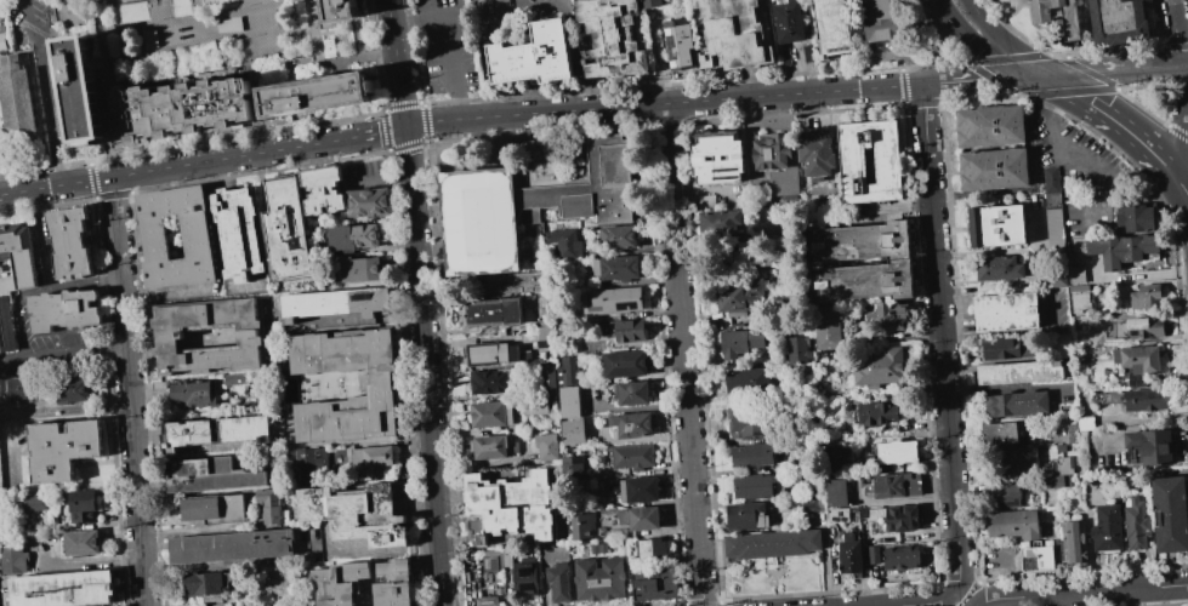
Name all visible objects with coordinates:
road: (103, 0)
road: (260, 4)
building: (648, 4)
road: (154, 8)
road: (197, 8)
building: (879, 10)
road: (92, 11)
building: (342, 11)
road: (228, 13)
road: (311, 15)
building: (1057, 16)
road: (262, 19)
road: (569, 19)
building: (789, 22)
building: (1120, 22)
road: (322, 23)
road: (141, 24)
building: (229, 24)
road: (70, 25)
road: (169, 27)
building: (835, 28)
building: (883, 33)
building: (734, 34)
road: (223, 35)
building: (149, 38)
building: (612, 38)
road: (449, 40)
road: (1004, 40)
building: (1, 41)
road: (936, 41)
road: (1180, 41)
building: (681, 44)
road: (316, 46)
road: (187, 47)
road: (360, 47)
road: (982, 50)
road: (221, 51)
road: (376, 55)
building: (534, 56)
road: (175, 61)
road: (337, 61)
road: (320, 62)
road: (398, 62)
road: (285, 67)
road: (1115, 69)
parking lot: (41, 70)
road: (227, 72)
road: (288, 73)
traffic signals: (1044, 75)
road: (108, 76)
road: (177, 80)
building: (84, 81)
road: (254, 82)
building: (323, 90)
road: (44, 91)
road: (724, 98)
building: (17, 105)
building: (186, 105)
road: (394, 107)
road: (103, 109)
road: (1113, 118)
road: (383, 121)
traffic signals: (408, 126)
building: (990, 126)
road: (381, 132)
road: (252, 133)
building: (818, 155)
road: (1068, 155)
road: (103, 158)
building: (717, 158)
road: (1181, 159)
building: (870, 161)
road: (89, 162)
building: (778, 162)
road: (177, 166)
building: (994, 170)
road: (91, 172)
road: (1181, 183)
road: (1156, 184)
building: (324, 190)
building: (1053, 194)
road: (1101, 200)
building: (369, 202)
building: (529, 208)
building: (717, 212)
building: (1136, 218)
building: (999, 227)
building: (288, 228)
building: (239, 234)
building: (619, 236)
building: (198, 238)
building: (356, 238)
building: (565, 242)
building: (70, 244)
building: (1124, 250)
building: (748, 252)
building: (834, 259)
building: (618, 268)
building: (1000, 268)
building: (358, 269)
building: (1079, 274)
building: (13, 276)
building: (515, 284)
road: (169, 295)
building: (1147, 297)
building: (740, 299)
building: (613, 301)
building: (1082, 301)
building: (336, 304)
building: (64, 310)
building: (494, 313)
building: (1006, 313)
building: (858, 322)
road: (17, 326)
building: (1136, 330)
building: (626, 331)
building: (538, 333)
building: (208, 336)
road: (942, 337)
building: (741, 343)
building: (1002, 348)
building: (798, 350)
building: (491, 353)
road: (683, 354)
building: (1139, 360)
building: (625, 364)
road: (426, 366)
building: (879, 367)
building: (1021, 372)
building: (235, 379)
building: (496, 381)
building: (748, 381)
building: (563, 384)
building: (347, 387)
building: (17, 389)
building: (72, 389)
road: (129, 391)
building: (194, 393)
building: (633, 393)
building: (1138, 400)
building: (1017, 404)
building: (536, 406)
building: (877, 412)
building: (493, 415)
building: (1087, 423)
building: (633, 424)
building: (547, 425)
building: (749, 427)
building: (214, 430)
building: (574, 431)
building: (1005, 433)
building: (1073, 433)
building: (547, 446)
building: (1153, 446)
building: (494, 447)
building: (63, 448)
building: (898, 452)
building: (633, 456)
building: (752, 456)
building: (373, 457)
building: (835, 457)
building: (1014, 461)
building: (309, 464)
building: (579, 468)
building: (0, 469)
building: (1061, 474)
building: (211, 475)
building: (610, 485)
building: (754, 486)
building: (900, 486)
building: (640, 490)
building: (836, 492)
building: (1007, 494)
building: (36, 504)
building: (791, 504)
building: (83, 507)
building: (272, 508)
building: (215, 509)
building: (511, 509)
building: (1, 513)
building: (357, 514)
building: (1170, 514)
building: (837, 515)
building: (746, 516)
building: (904, 518)
building: (638, 519)
building: (1013, 524)
building: (1137, 524)
building: (584, 527)
building: (1108, 530)
building: (603, 531)
building: (83, 543)
building: (1073, 543)
building: (772, 544)
building: (232, 547)
building: (599, 549)
building: (654, 549)
building: (851, 554)
building: (874, 555)
building: (903, 558)
building: (15, 559)
building: (1038, 559)
building: (490, 564)
building: (493, 578)
building: (601, 578)
building: (527, 581)
building: (561, 581)
building: (365, 584)
building: (656, 584)
building: (211, 585)
building: (62, 589)
road: (1082, 594)
building: (484, 596)
road: (961, 598)
road: (933, 604)

